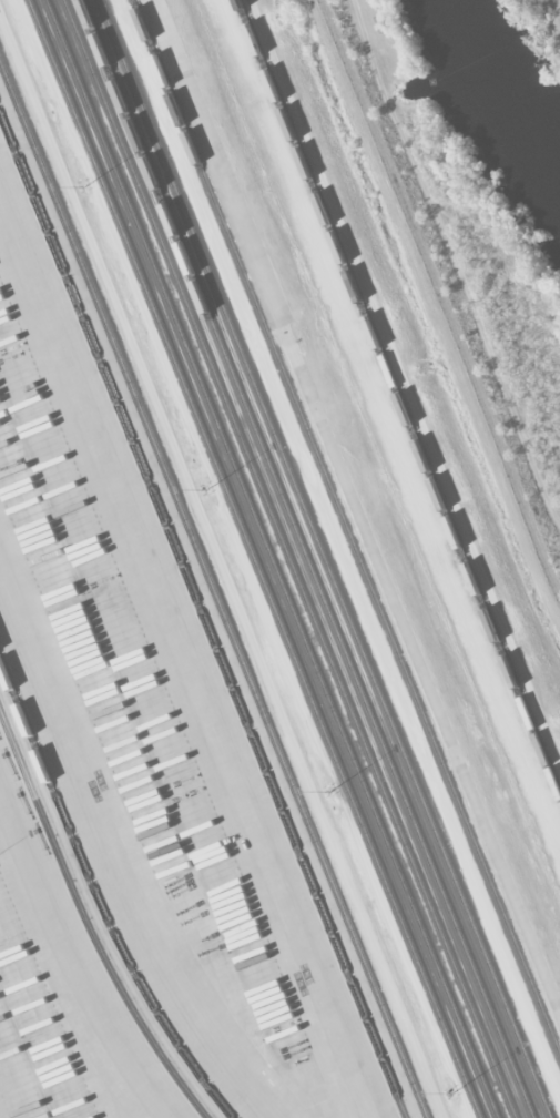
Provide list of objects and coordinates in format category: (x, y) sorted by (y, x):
railway: (398, 397)
railway: (347, 524)
railway: (288, 558)
railway: (256, 559)
railway: (272, 559)
railway: (306, 559)
railway: (325, 559)
railway: (203, 616)
railway: (191, 643)
railway: (181, 672)
railway: (98, 900)
railway: (88, 922)

